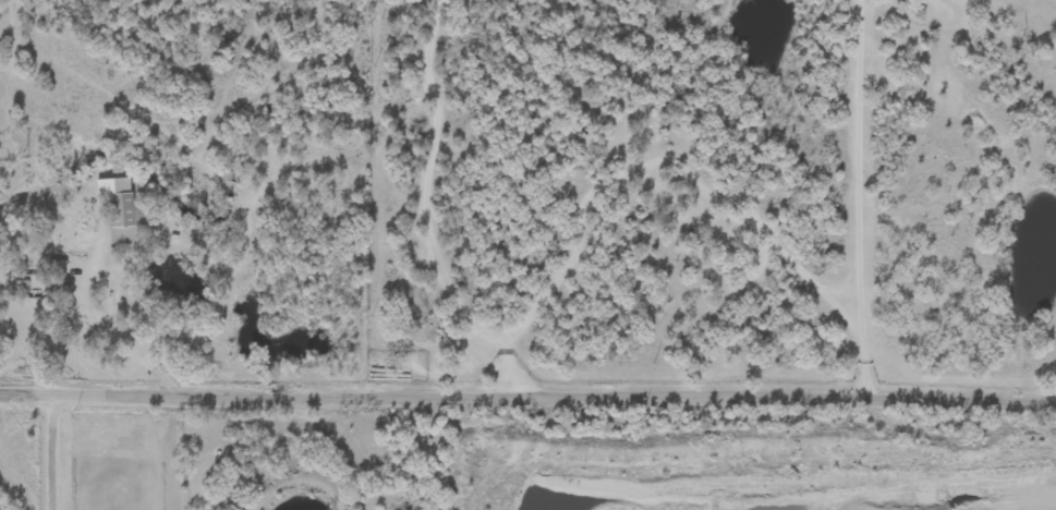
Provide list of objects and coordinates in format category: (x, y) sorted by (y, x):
road: (860, 159)
road: (677, 165)
road: (432, 185)
building: (125, 212)
building: (14, 266)
road: (750, 396)
road: (222, 397)
road: (53, 451)

